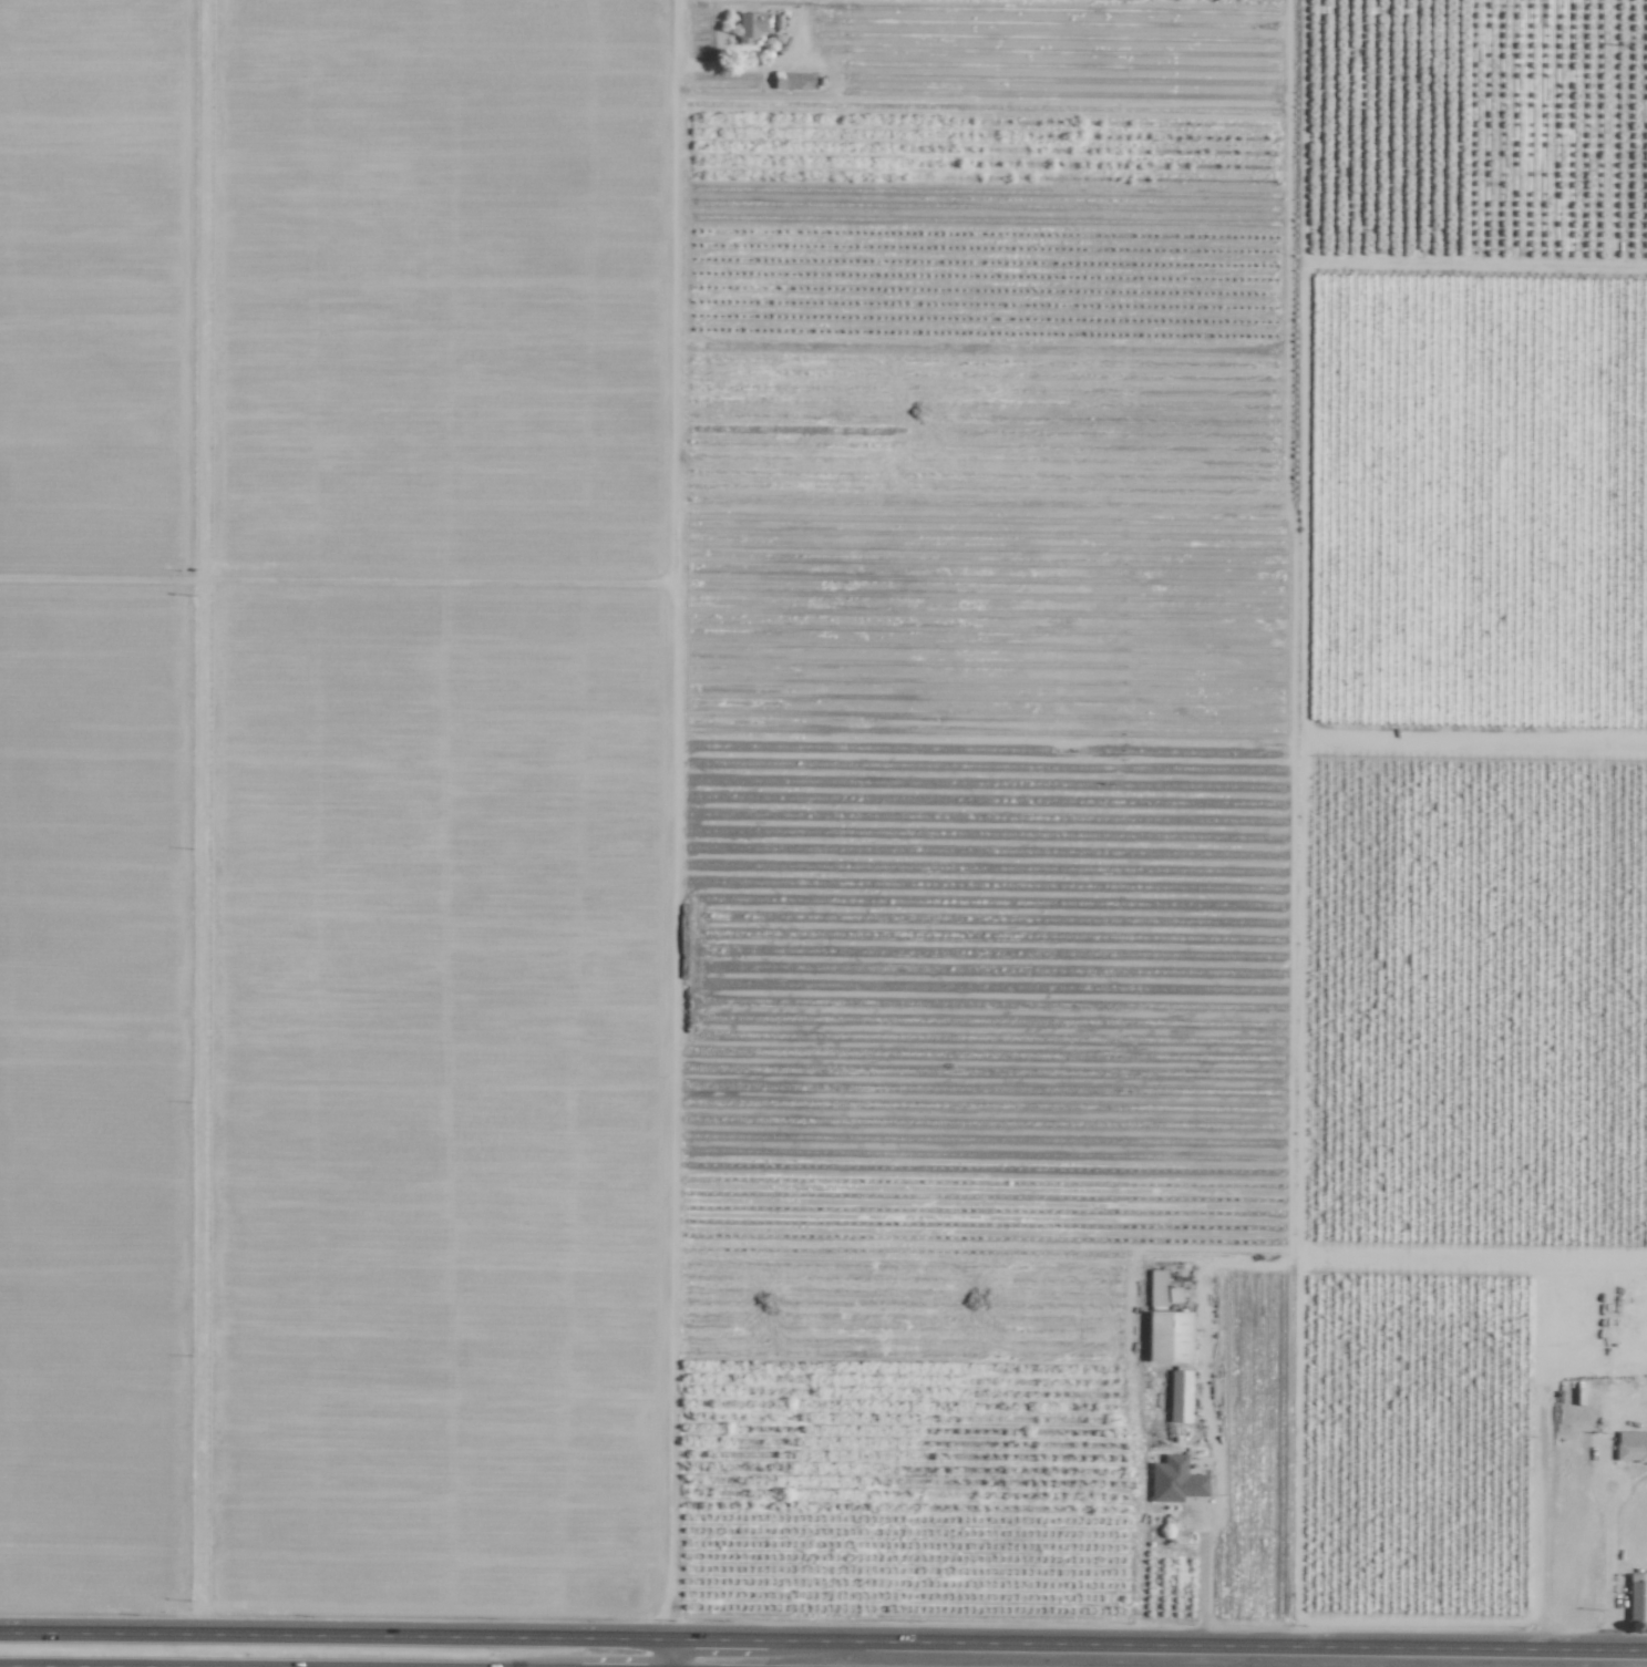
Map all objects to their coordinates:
building: (749, 25)
road: (696, 63)
building: (791, 81)
road: (670, 820)
building: (1167, 1337)
building: (1180, 1396)
building: (1630, 1447)
building: (1174, 1480)
road: (1606, 1568)
road: (1202, 1579)
building: (1637, 1597)
road: (823, 1640)
road: (670, 1653)
road: (75, 1666)

